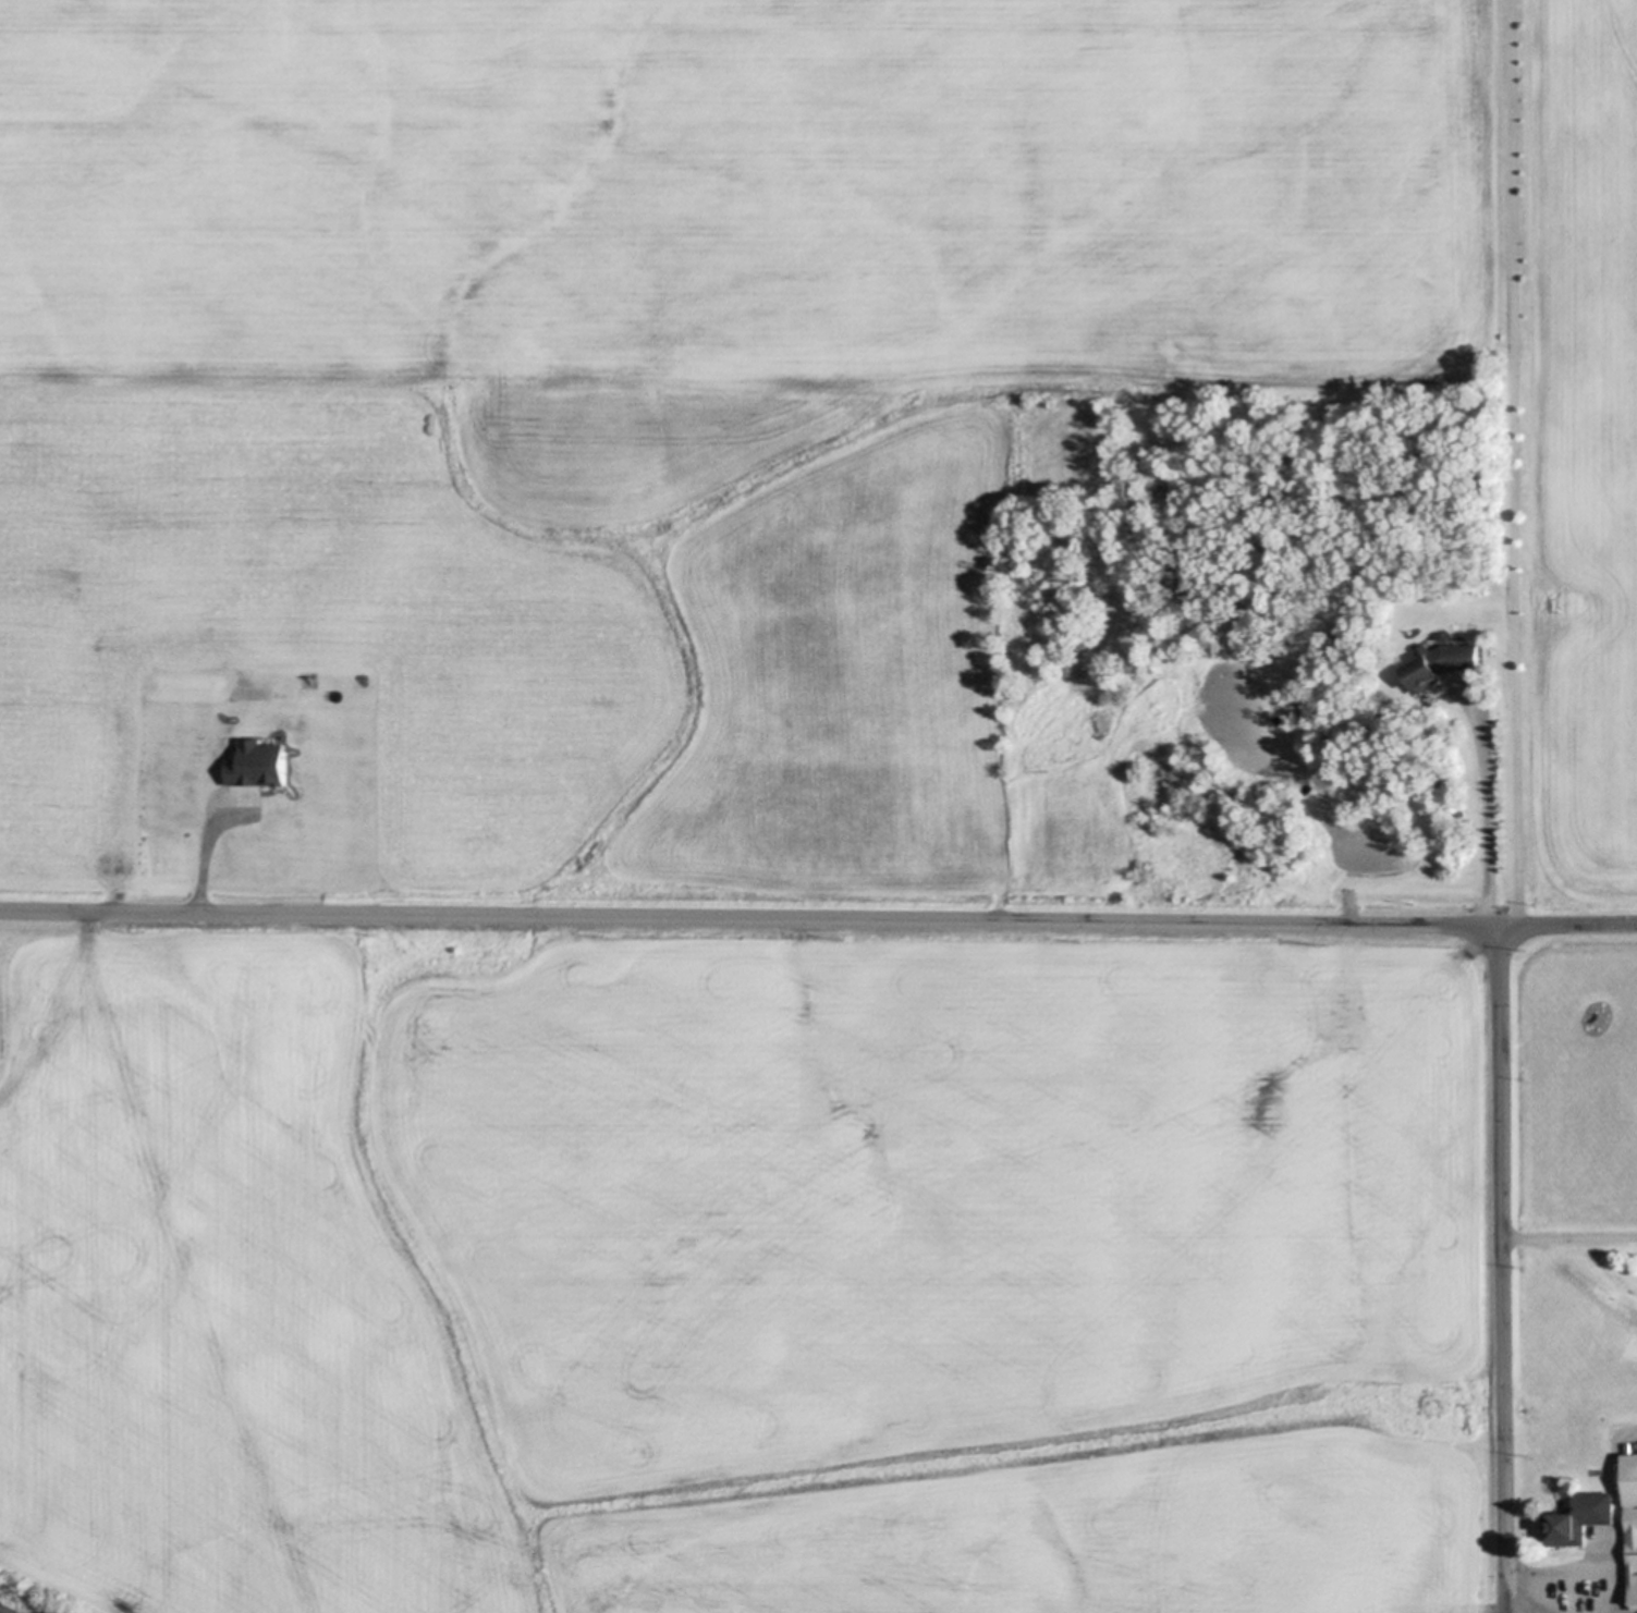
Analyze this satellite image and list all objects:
road: (1518, 463)
building: (1449, 663)
building: (193, 749)
building: (222, 749)
building: (255, 766)
building: (175, 786)
road: (1493, 805)
building: (274, 830)
road: (206, 855)
road: (818, 920)
road: (1571, 1237)
road: (1504, 1270)
building: (1636, 1488)
building: (1587, 1519)
road: (1624, 1551)

